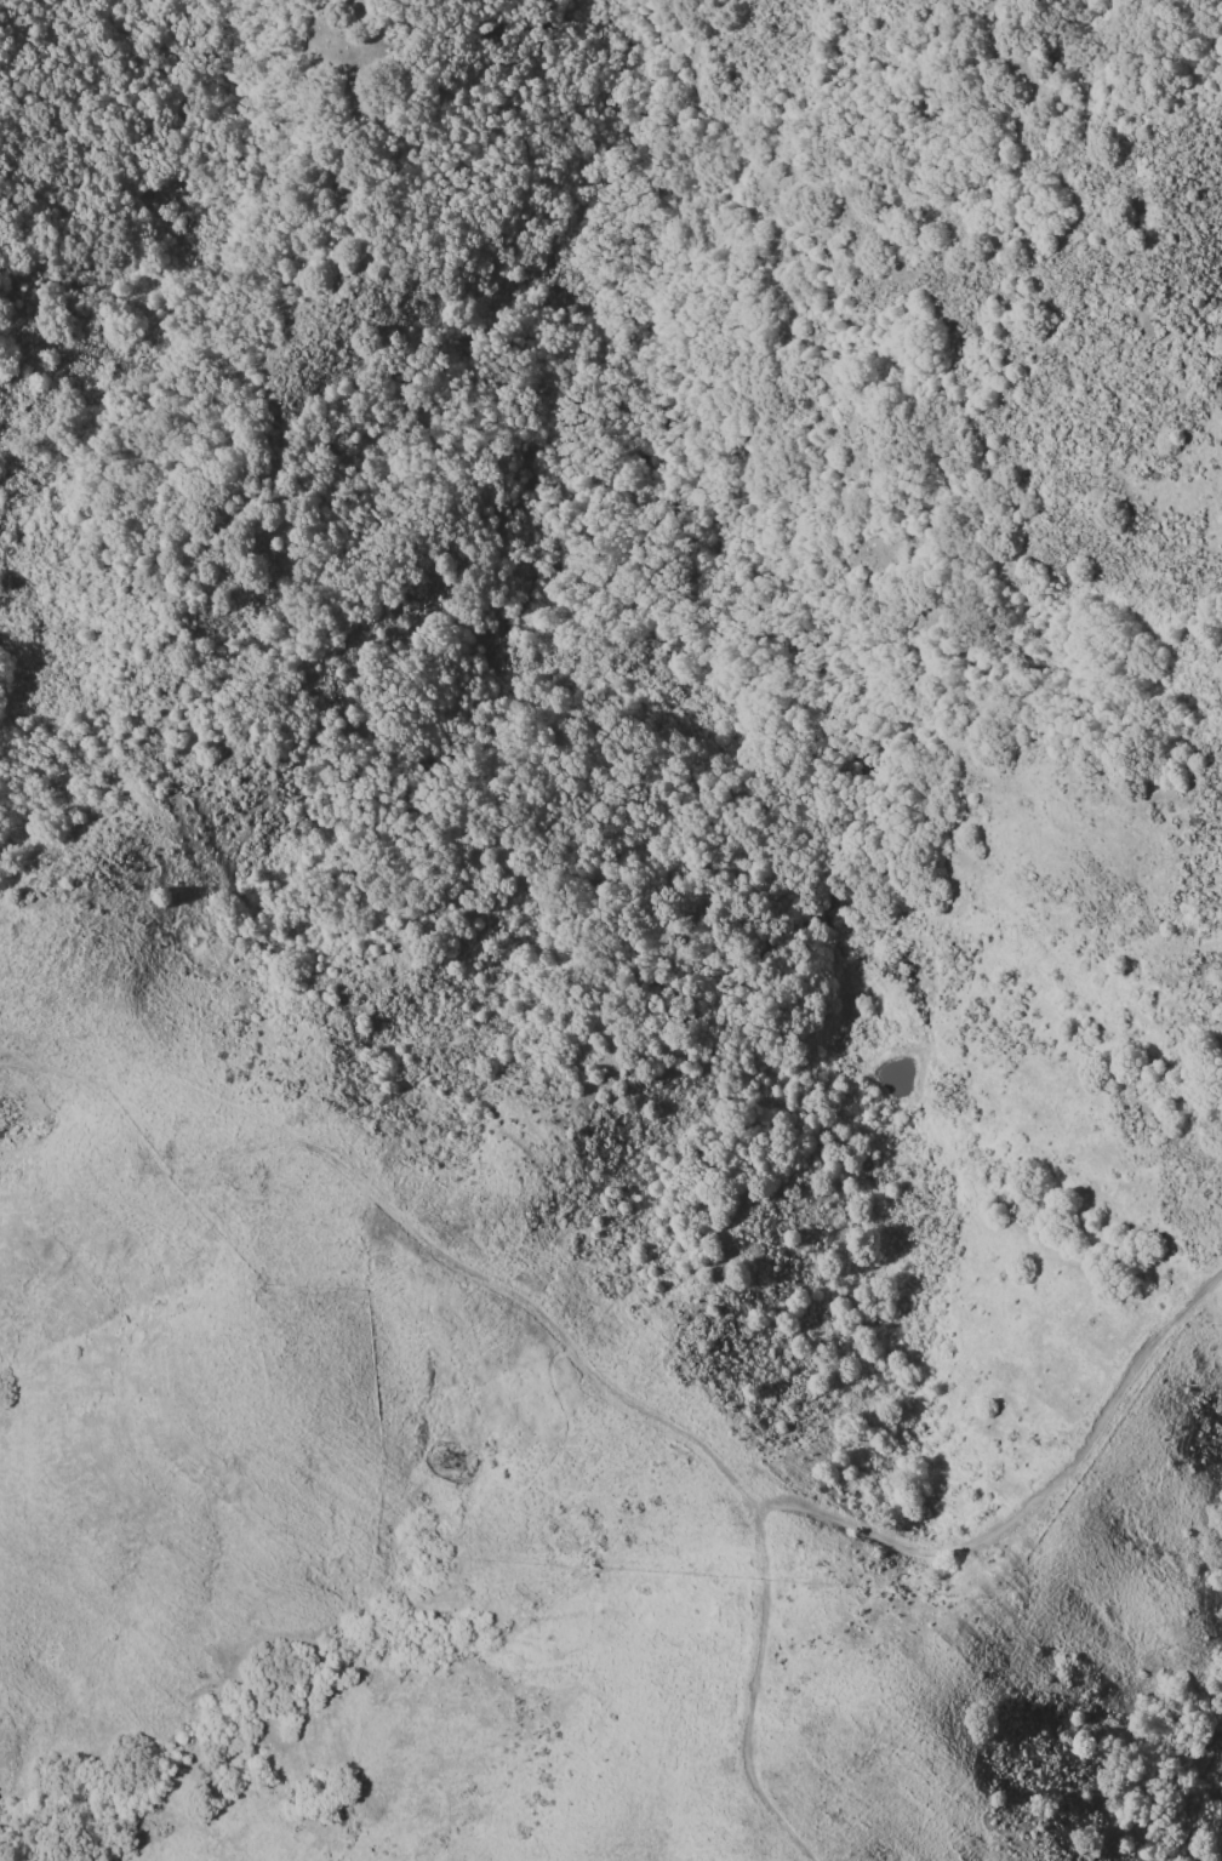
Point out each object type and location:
road: (136, 1029)
road: (205, 1154)
road: (394, 1215)
road: (1040, 1498)
road: (750, 1691)

